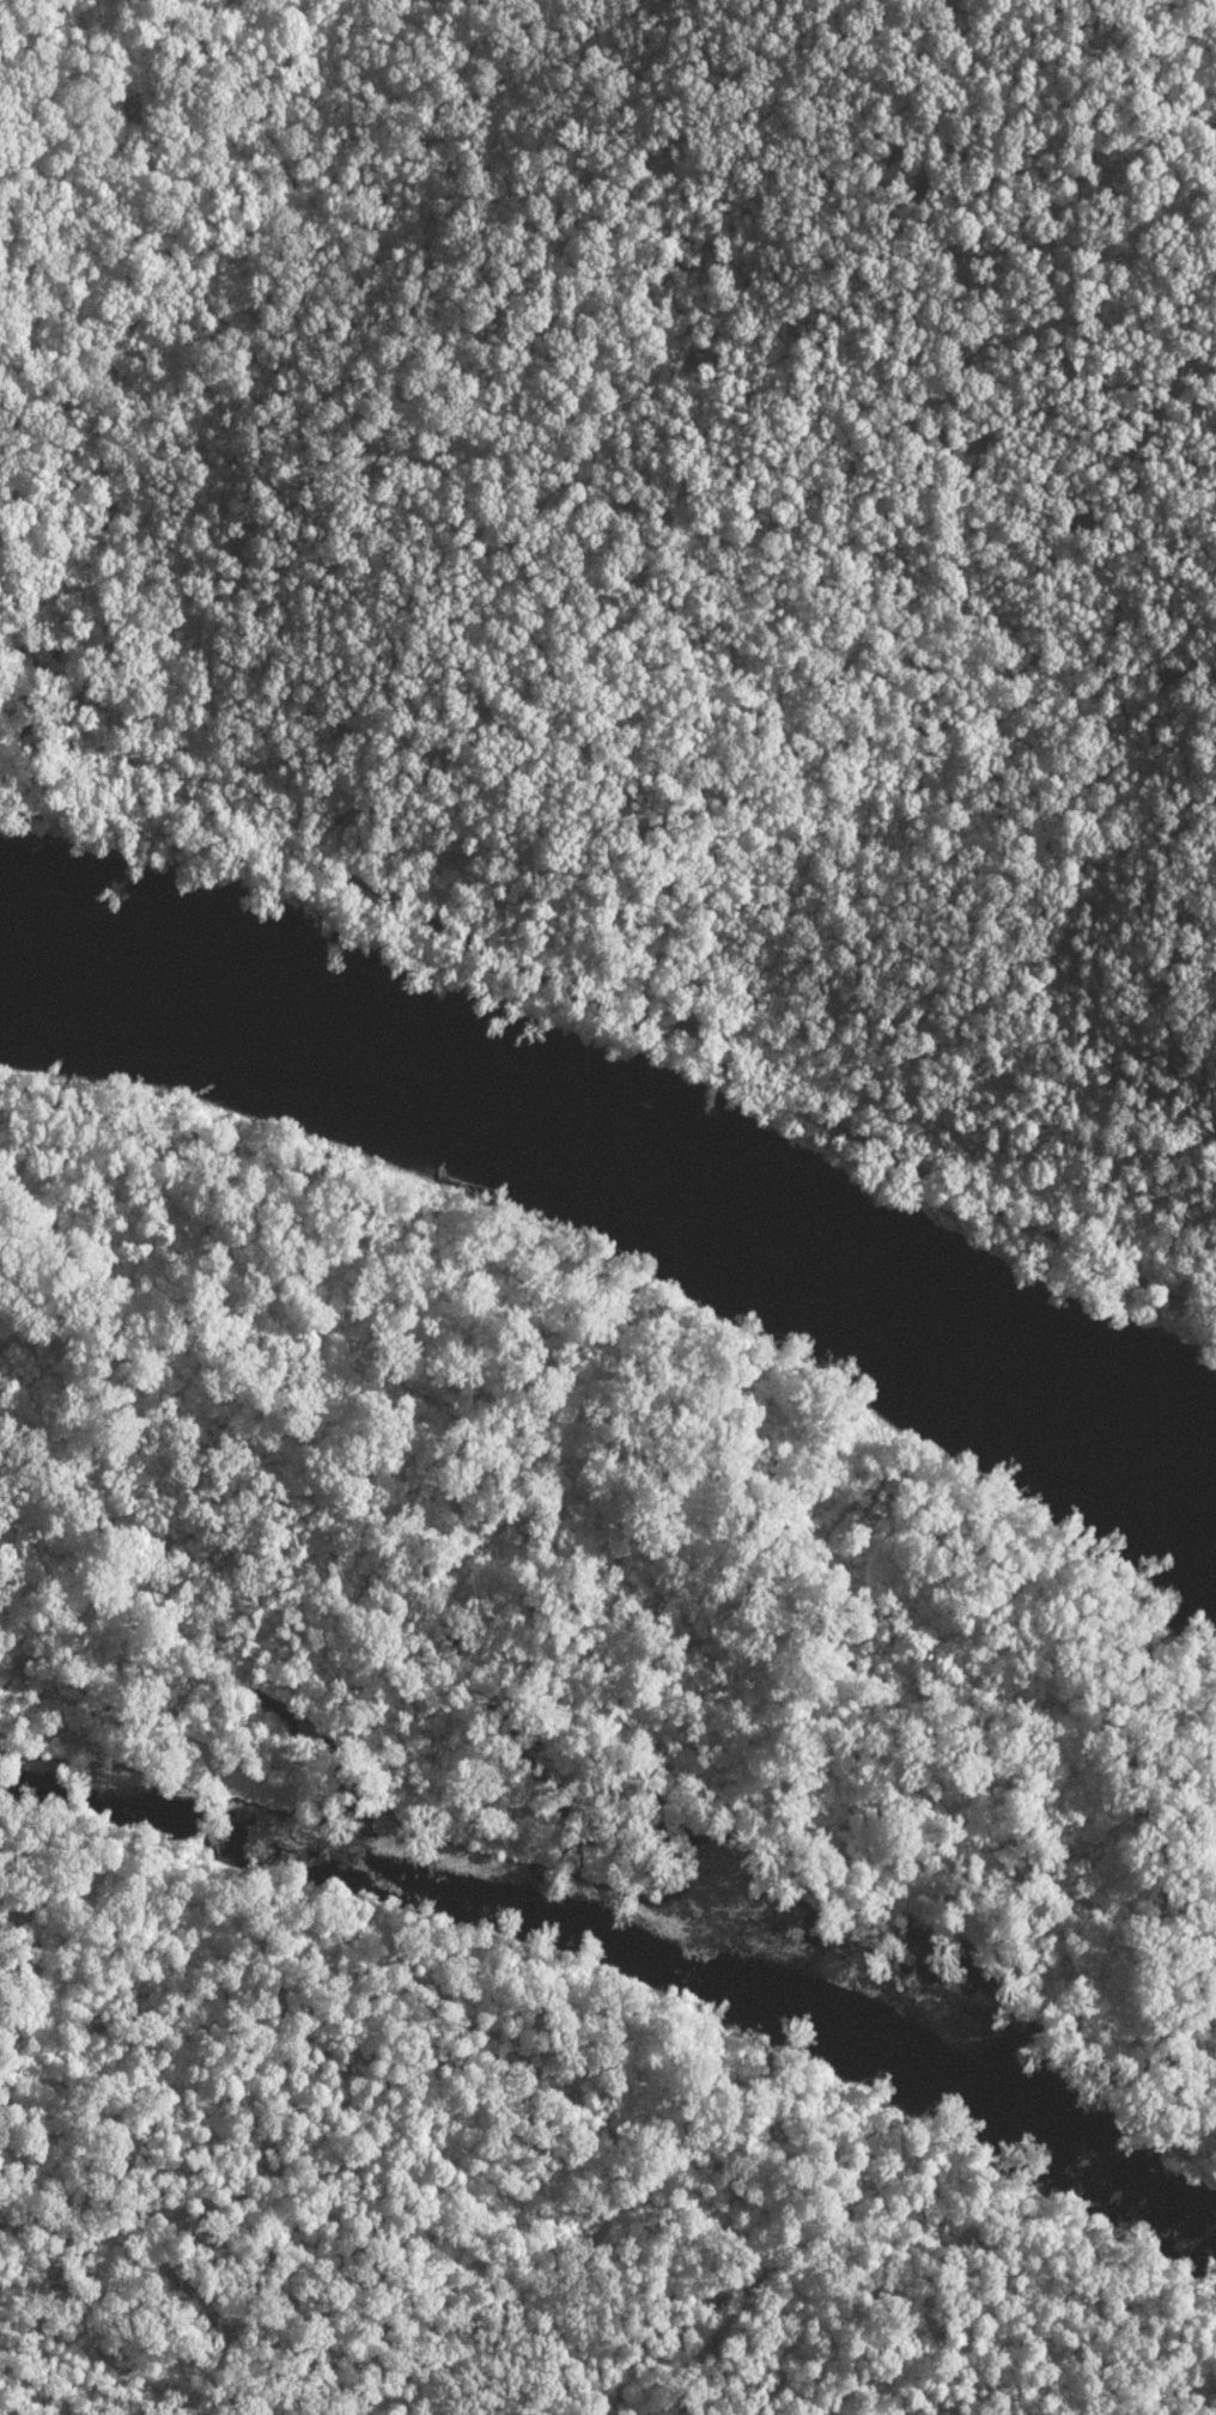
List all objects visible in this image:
road: (108, 266)
river: (644, 1162)

